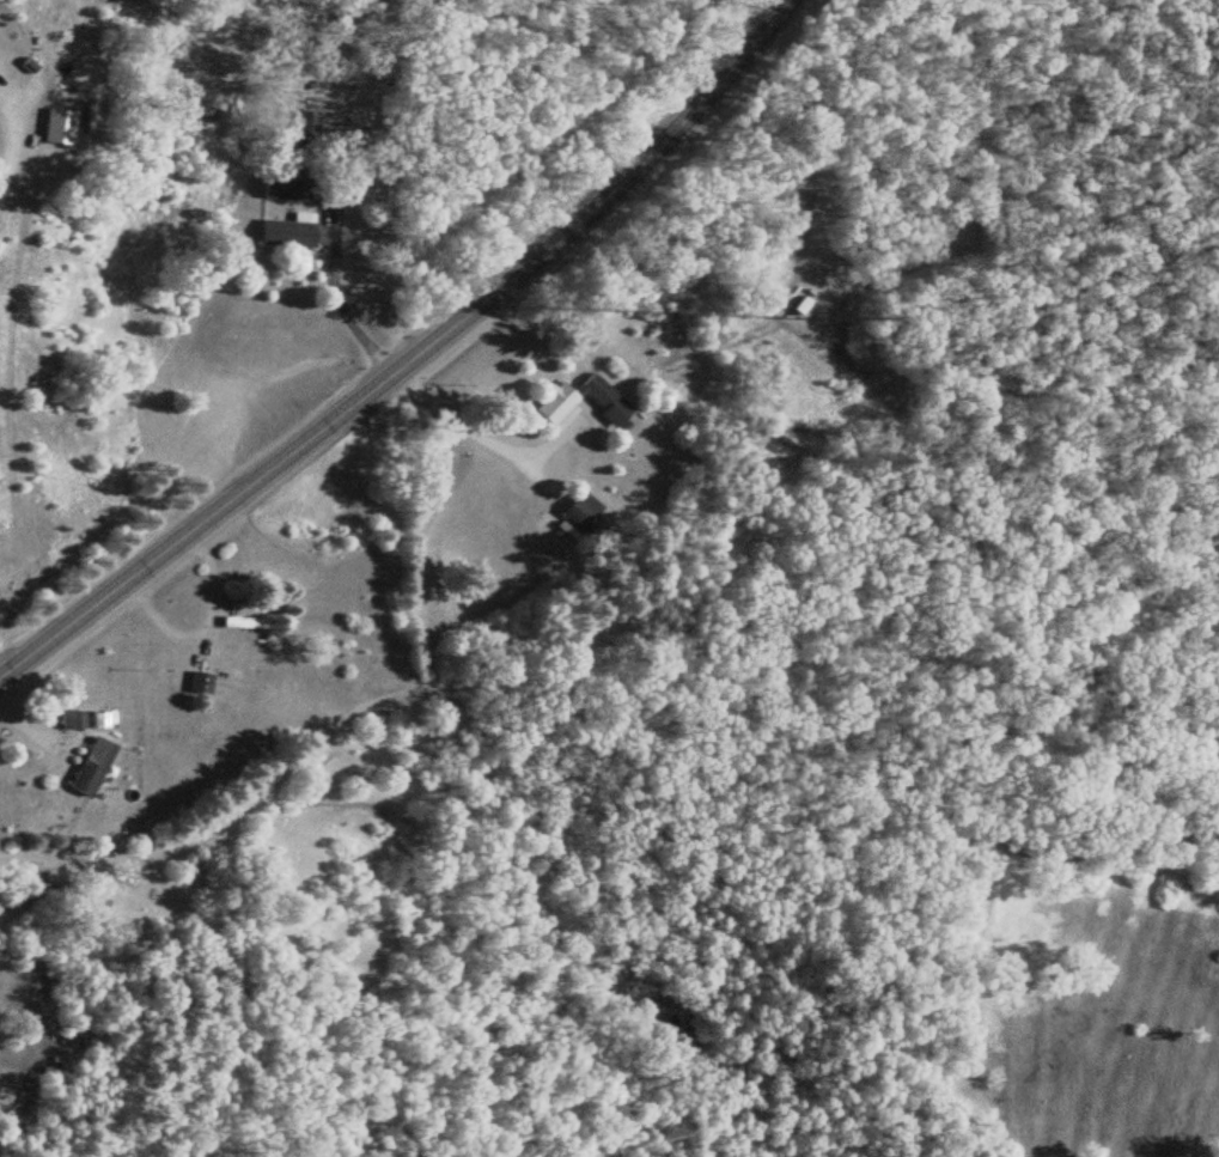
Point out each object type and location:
building: (297, 122)
building: (48, 128)
road: (18, 135)
building: (276, 232)
road: (910, 256)
road: (331, 282)
building: (790, 309)
road: (977, 323)
road: (410, 355)
road: (1098, 372)
building: (575, 403)
road: (456, 415)
building: (573, 513)
road: (451, 682)
building: (189, 683)
building: (62, 720)
building: (80, 767)

